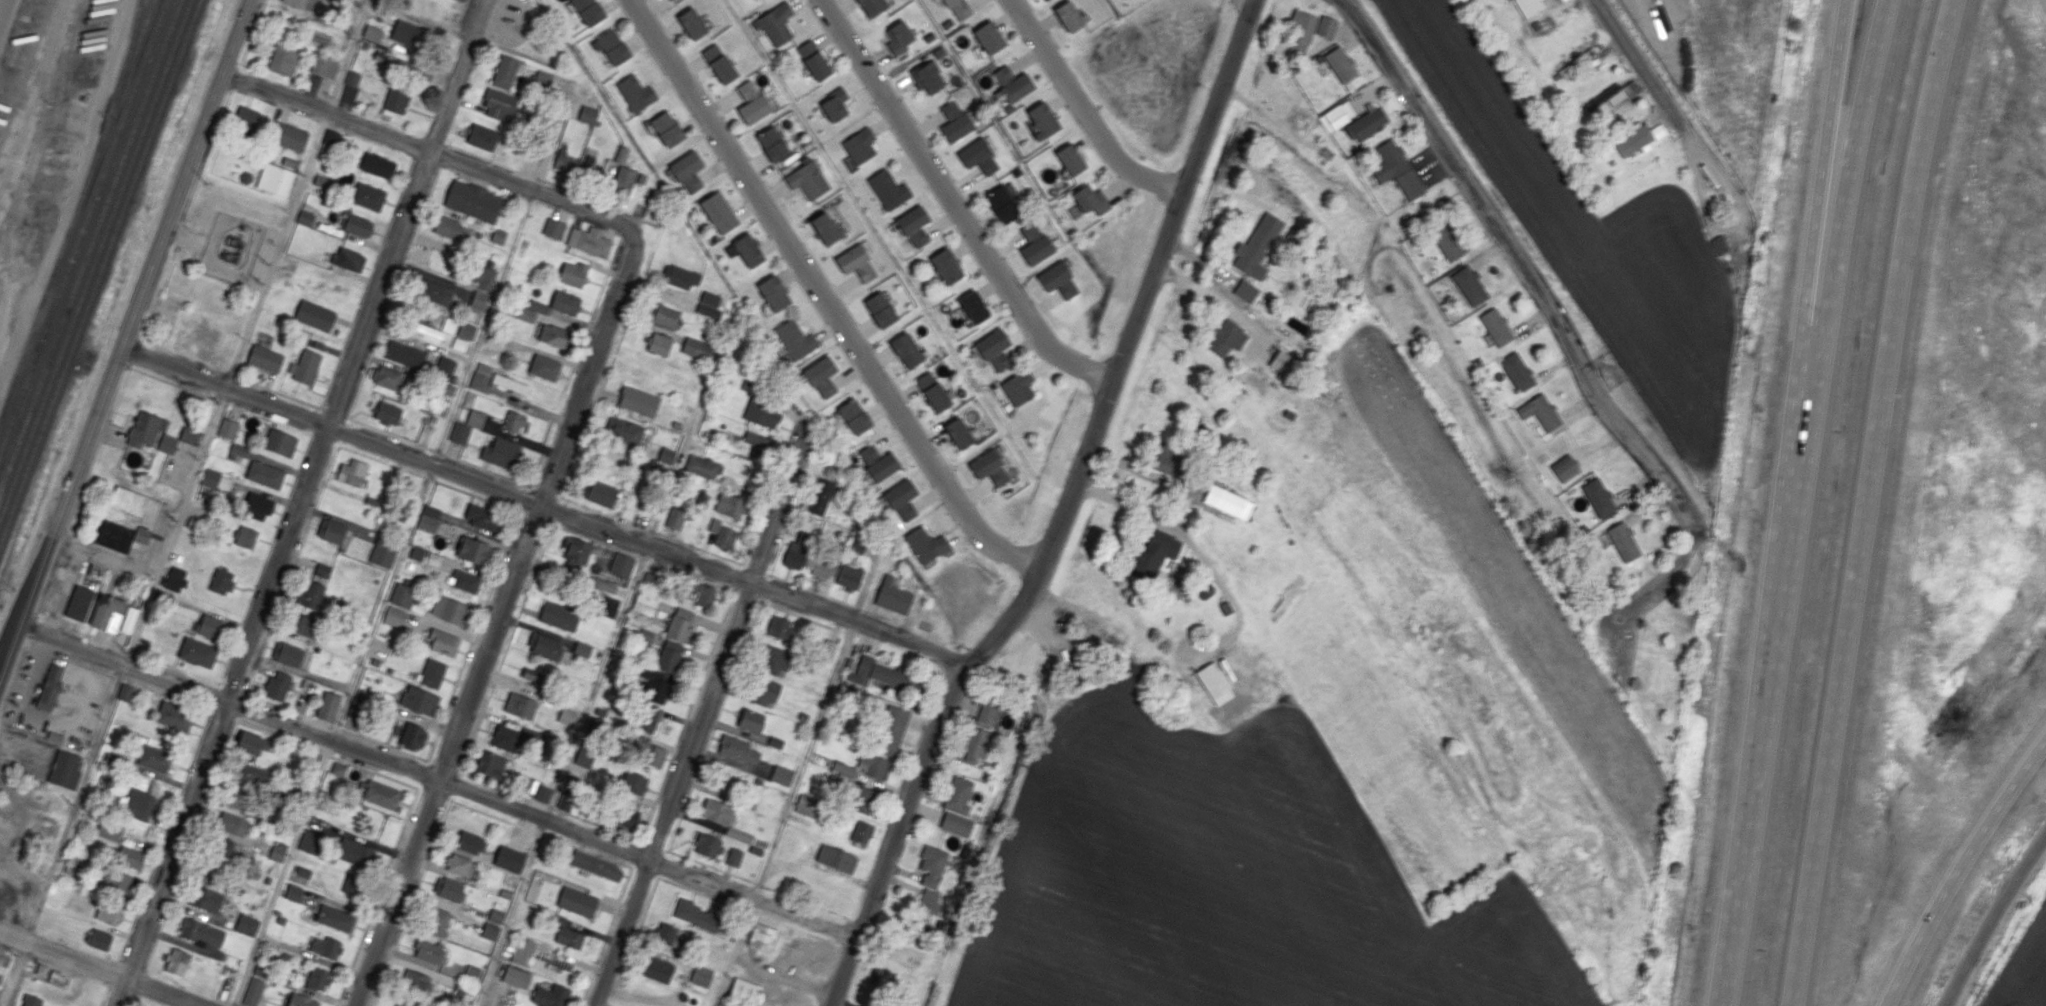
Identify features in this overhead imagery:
building: (462, 0)
building: (301, 3)
building: (1529, 6)
road: (2, 7)
building: (871, 7)
building: (958, 9)
building: (588, 11)
building: (1068, 16)
building: (691, 23)
building: (776, 23)
building: (1326, 27)
building: (372, 33)
building: (408, 34)
building: (1300, 34)
building: (898, 37)
building: (988, 37)
building: (611, 47)
railway: (129, 50)
building: (1586, 54)
road: (347, 56)
road: (1637, 57)
building: (284, 60)
building: (813, 60)
building: (400, 63)
building: (719, 63)
building: (1340, 64)
building: (324, 67)
building: (504, 72)
building: (542, 77)
building: (926, 77)
building: (352, 78)
building: (1012, 83)
building: (635, 93)
road: (275, 94)
building: (1607, 98)
building: (396, 100)
building: (751, 102)
building: (834, 104)
road: (1084, 110)
building: (587, 114)
building: (1338, 114)
building: (246, 120)
building: (1042, 120)
building: (954, 121)
building: (1367, 124)
building: (666, 129)
building: (288, 136)
building: (482, 137)
building: (1638, 138)
building: (334, 139)
building: (772, 144)
building: (859, 146)
building: (620, 154)
building: (978, 156)
building: (1070, 159)
building: (564, 162)
building: (377, 165)
building: (590, 166)
building: (1396, 169)
building: (687, 171)
road: (483, 173)
building: (275, 179)
building: (623, 180)
building: (807, 180)
building: (321, 182)
road: (1819, 183)
road: (1840, 183)
building: (888, 189)
building: (368, 196)
building: (473, 200)
building: (1090, 200)
road: (955, 203)
building: (1003, 203)
road: (1740, 205)
railway: (76, 208)
road: (407, 212)
building: (718, 212)
building: (305, 218)
building: (358, 226)
building: (914, 226)
railway: (83, 227)
building: (449, 227)
building: (553, 228)
building: (825, 228)
road: (185, 234)
building: (498, 236)
building: (589, 241)
building: (1447, 241)
building: (1034, 244)
railway: (90, 245)
building: (1718, 245)
building: (1256, 246)
crop: (1604, 248)
building: (748, 250)
building: (348, 259)
railway: (95, 260)
building: (856, 263)
building: (946, 265)
railway: (100, 271)
building: (573, 273)
building: (484, 274)
building: (679, 276)
building: (1058, 280)
building: (1470, 285)
building: (1245, 290)
building: (436, 292)
building: (773, 293)
road: (824, 297)
building: (477, 301)
building: (565, 303)
building: (709, 304)
building: (538, 306)
building: (973, 306)
building: (880, 309)
building: (314, 315)
building: (526, 315)
building: (662, 315)
road: (1559, 322)
building: (449, 325)
building: (1496, 326)
building: (427, 330)
building: (466, 330)
road: (127, 335)
building: (554, 335)
building: (193, 336)
building: (1226, 337)
building: (794, 339)
building: (658, 343)
building: (459, 344)
building: (696, 348)
building: (993, 348)
building: (906, 350)
building: (404, 354)
building: (264, 358)
building: (1283, 362)
building: (305, 366)
building: (544, 367)
building: (444, 368)
building: (1517, 371)
building: (480, 376)
building: (821, 376)
building: (387, 378)
power tower: (1611, 379)
road: (172, 383)
building: (509, 384)
building: (318, 386)
building: (1018, 386)
building: (1231, 386)
building: (932, 391)
building: (638, 400)
road: (223, 401)
building: (1540, 412)
building: (386, 413)
building: (762, 414)
building: (854, 416)
building: (475, 418)
road: (271, 419)
building: (514, 422)
building: (227, 428)
building: (144, 429)
building: (623, 429)
building: (459, 433)
building: (958, 433)
building: (189, 435)
building: (279, 442)
building: (167, 443)
building: (758, 444)
building: (241, 451)
building: (500, 453)
building: (868, 454)
building: (666, 455)
building: (1168, 459)
building: (702, 466)
building: (882, 467)
building: (989, 467)
building: (1564, 468)
road: (1137, 469)
building: (352, 472)
building: (265, 474)
building: (210, 478)
building: (600, 493)
building: (820, 496)
building: (1598, 497)
building: (901, 499)
road: (1867, 501)
building: (1228, 502)
road: (1125, 503)
building: (730, 505)
building: (257, 506)
road: (540, 506)
road: (1063, 516)
building: (481, 517)
building: (429, 518)
building: (675, 518)
building: (118, 520)
building: (331, 530)
building: (722, 534)
building: (245, 536)
building: (1623, 541)
road: (404, 545)
building: (925, 545)
building: (472, 550)
building: (576, 550)
building: (798, 550)
building: (383, 551)
building: (417, 553)
building: (1153, 555)
road: (104, 557)
road: (163, 558)
building: (622, 565)
road: (756, 568)
building: (823, 568)
building: (322, 570)
building: (850, 574)
crop: (1502, 575)
building: (174, 579)
building: (221, 580)
building: (464, 581)
building: (601, 585)
road: (764, 586)
road: (810, 588)
road: (62, 593)
building: (310, 594)
building: (402, 595)
road: (746, 595)
building: (705, 596)
building: (892, 596)
building: (79, 602)
building: (644, 604)
building: (608, 606)
road: (861, 607)
building: (450, 610)
road: (796, 613)
building: (107, 614)
road: (881, 615)
building: (559, 616)
building: (394, 617)
building: (128, 619)
road: (497, 619)
building: (679, 624)
building: (303, 625)
building: (210, 627)
building: (780, 628)
building: (443, 642)
building: (544, 646)
building: (582, 649)
building: (827, 650)
building: (197, 653)
building: (288, 654)
building: (669, 656)
building: (773, 659)
building: (432, 673)
building: (881, 674)
building: (532, 676)
building: (1213, 683)
building: (277, 685)
road: (1764, 687)
building: (49, 688)
building: (657, 690)
building: (764, 691)
building: (124, 692)
building: (419, 700)
building: (520, 705)
building: (327, 706)
building: (355, 707)
building: (988, 715)
building: (174, 716)
road: (222, 716)
building: (567, 717)
building: (648, 717)
road: (702, 720)
building: (751, 720)
building: (592, 727)
road: (579, 729)
building: (891, 730)
building: (531, 734)
building: (412, 735)
building: (505, 737)
building: (251, 743)
building: (976, 744)
building: (738, 749)
parking lot: (25, 752)
building: (652, 755)
building: (154, 758)
building: (583, 759)
building: (490, 764)
building: (874, 766)
building: (63, 768)
building: (338, 769)
building: (843, 773)
building: (251, 774)
building: (781, 775)
road: (437, 779)
building: (633, 783)
building: (542, 793)
building: (381, 794)
building: (958, 795)
building: (240, 799)
building: (565, 800)
building: (865, 801)
building: (141, 804)
building: (805, 805)
building: (716, 811)
road: (785, 812)
building: (627, 816)
building: (232, 824)
building: (956, 824)
building: (109, 831)
building: (861, 832)
building: (739, 834)
building: (310, 842)
building: (469, 843)
building: (707, 845)
building: (226, 848)
building: (278, 851)
building: (355, 852)
building: (130, 857)
building: (734, 857)
building: (509, 859)
building: (836, 859)
building: (458, 864)
building: (596, 865)
building: (932, 865)
building: (302, 872)
road: (1961, 872)
crop: (1226, 879)
building: (116, 881)
building: (353, 884)
building: (450, 889)
building: (293, 892)
building: (206, 899)
building: (577, 901)
building: (929, 901)
building: (108, 913)
building: (696, 914)
road: (1992, 915)
building: (495, 916)
building: (335, 918)
building: (557, 919)
building: (437, 921)
building: (246, 925)
building: (490, 931)
building: (200, 932)
building: (669, 935)
building: (569, 937)
building: (761, 937)
building: (99, 939)
building: (326, 947)
building: (429, 951)
building: (522, 951)
building: (175, 961)
building: (554, 963)
road: (100, 967)
building: (655, 968)
building: (472, 971)
building: (701, 975)
building: (516, 977)
building: (56, 978)
building: (317, 979)
building: (416, 980)
building: (743, 990)
building: (253, 991)
building: (551, 995)
building: (460, 996)
building: (31, 1000)
building: (300, 1000)
building: (400, 1004)

